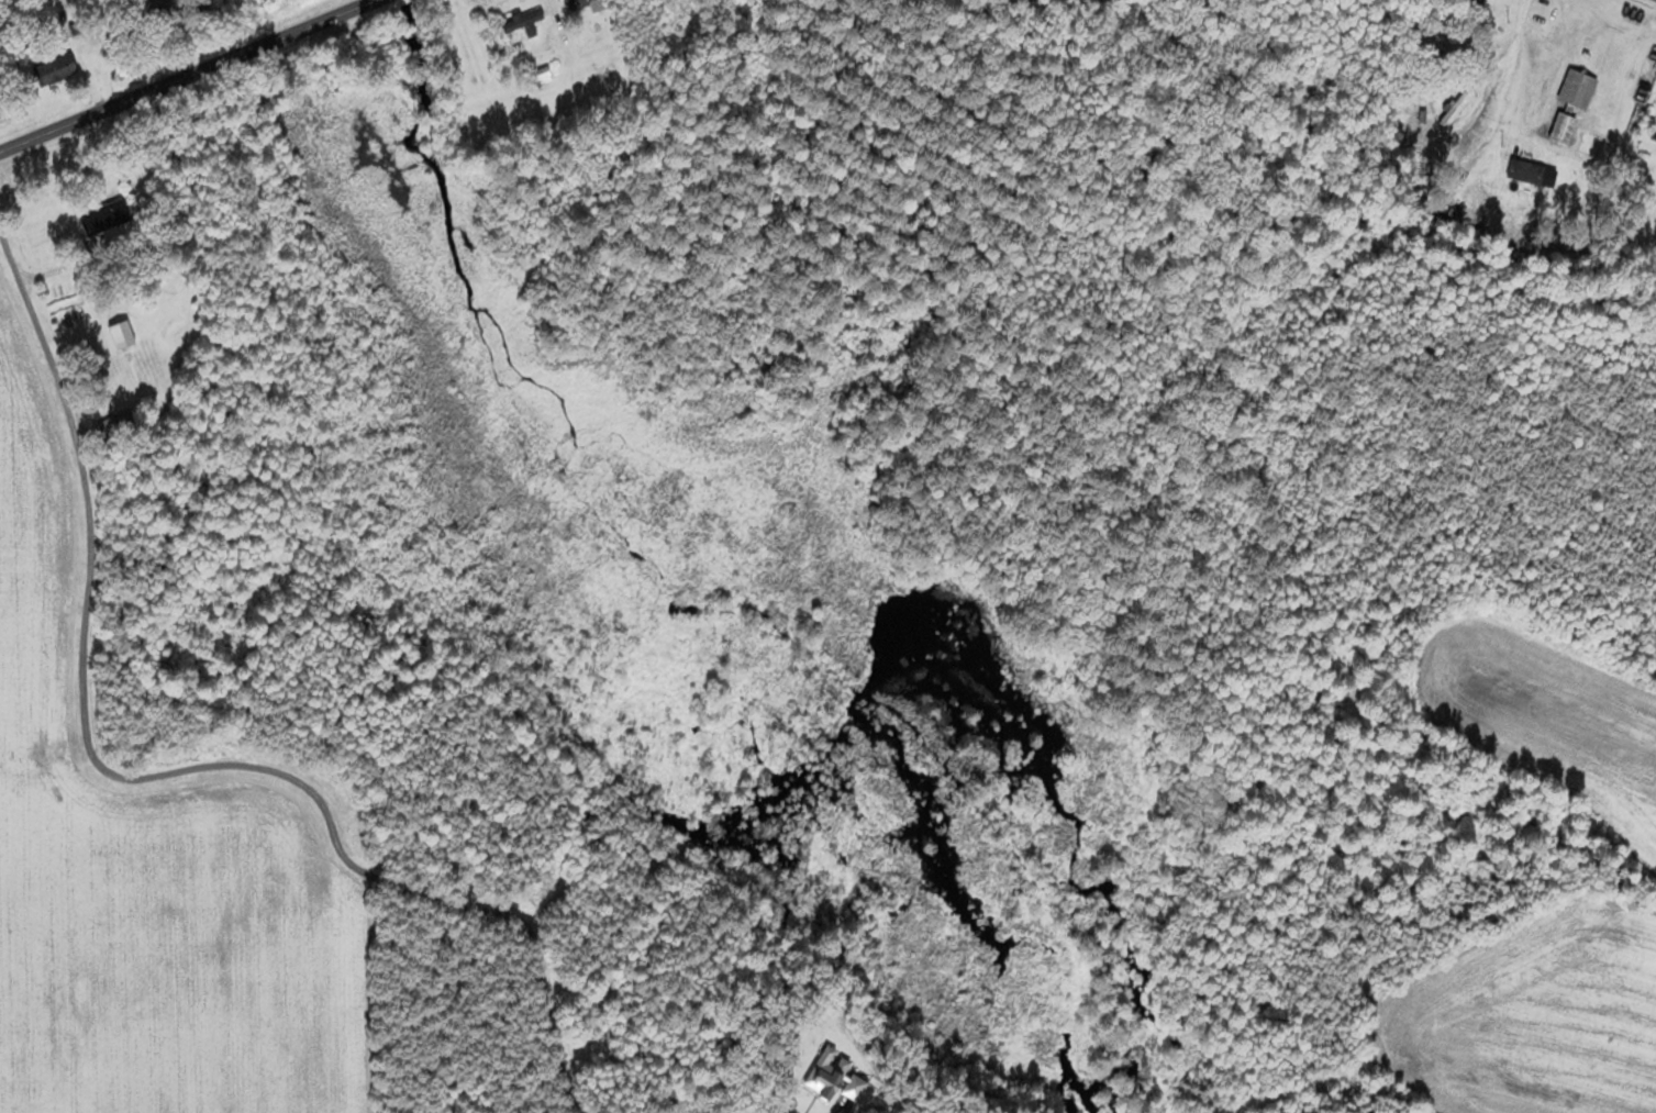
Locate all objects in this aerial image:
building: (588, 2)
building: (523, 19)
building: (57, 65)
road: (184, 75)
building: (1568, 88)
building: (1553, 127)
building: (1489, 177)
building: (1547, 190)
building: (115, 212)
building: (123, 334)
building: (118, 423)
road: (159, 778)

